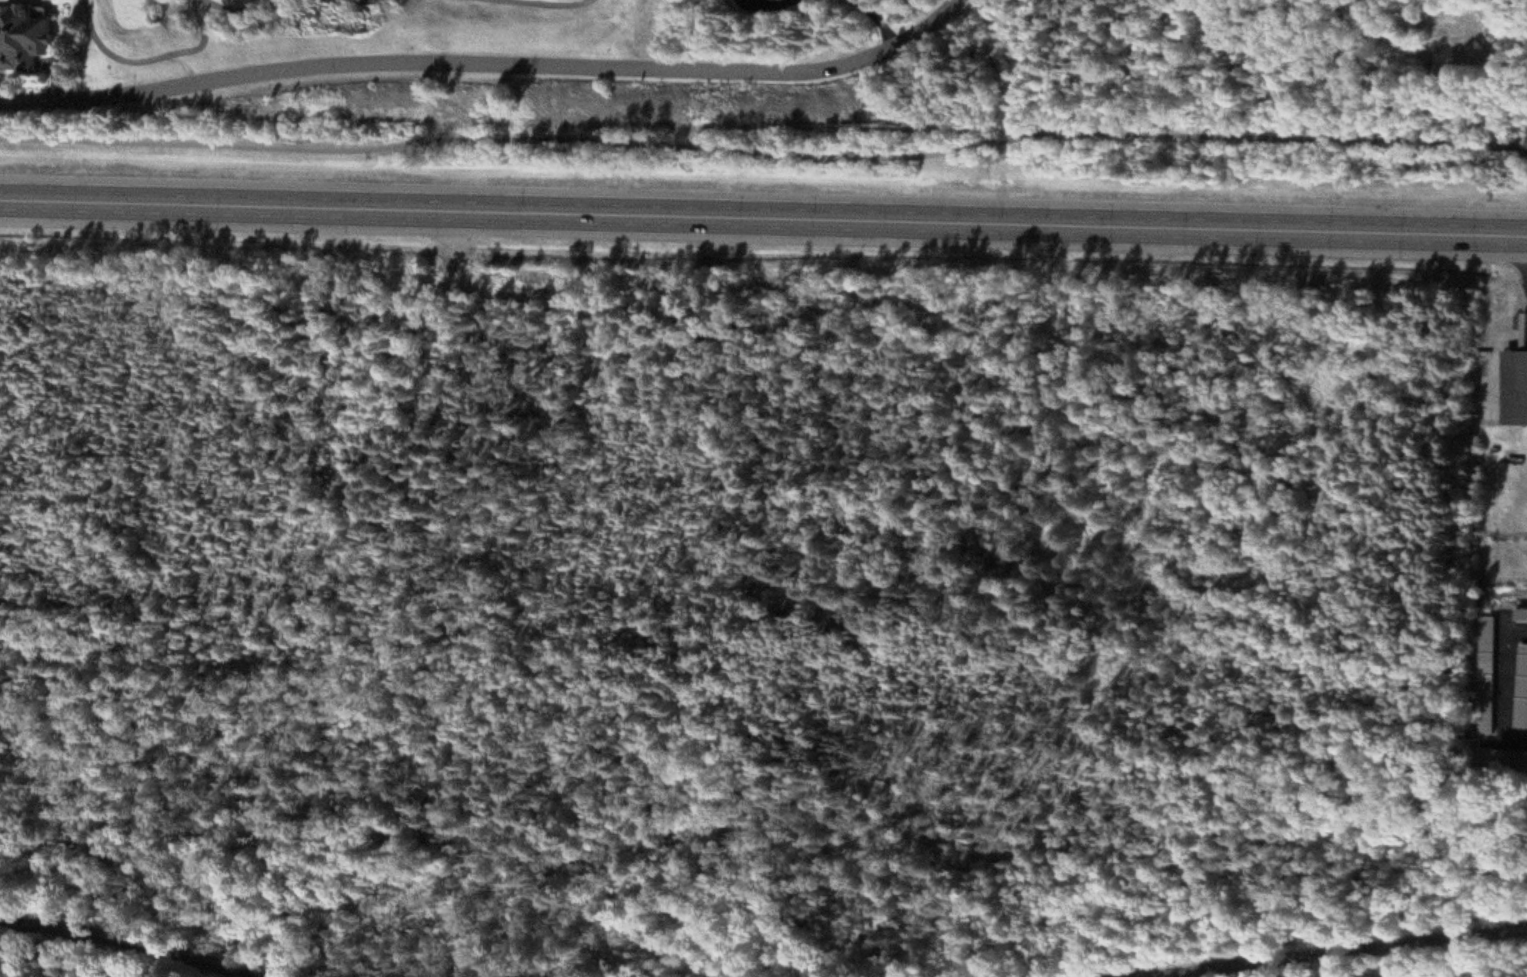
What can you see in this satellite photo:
road: (240, 2)
park: (334, 24)
building: (26, 38)
park: (1517, 47)
road: (154, 53)
road: (189, 65)
road: (489, 69)
road: (763, 150)
road: (763, 218)
building: (1517, 388)
building: (1522, 614)
building: (1488, 675)
road: (1506, 686)
building: (1522, 689)
building: (1502, 760)
road: (125, 943)
road: (1340, 953)

